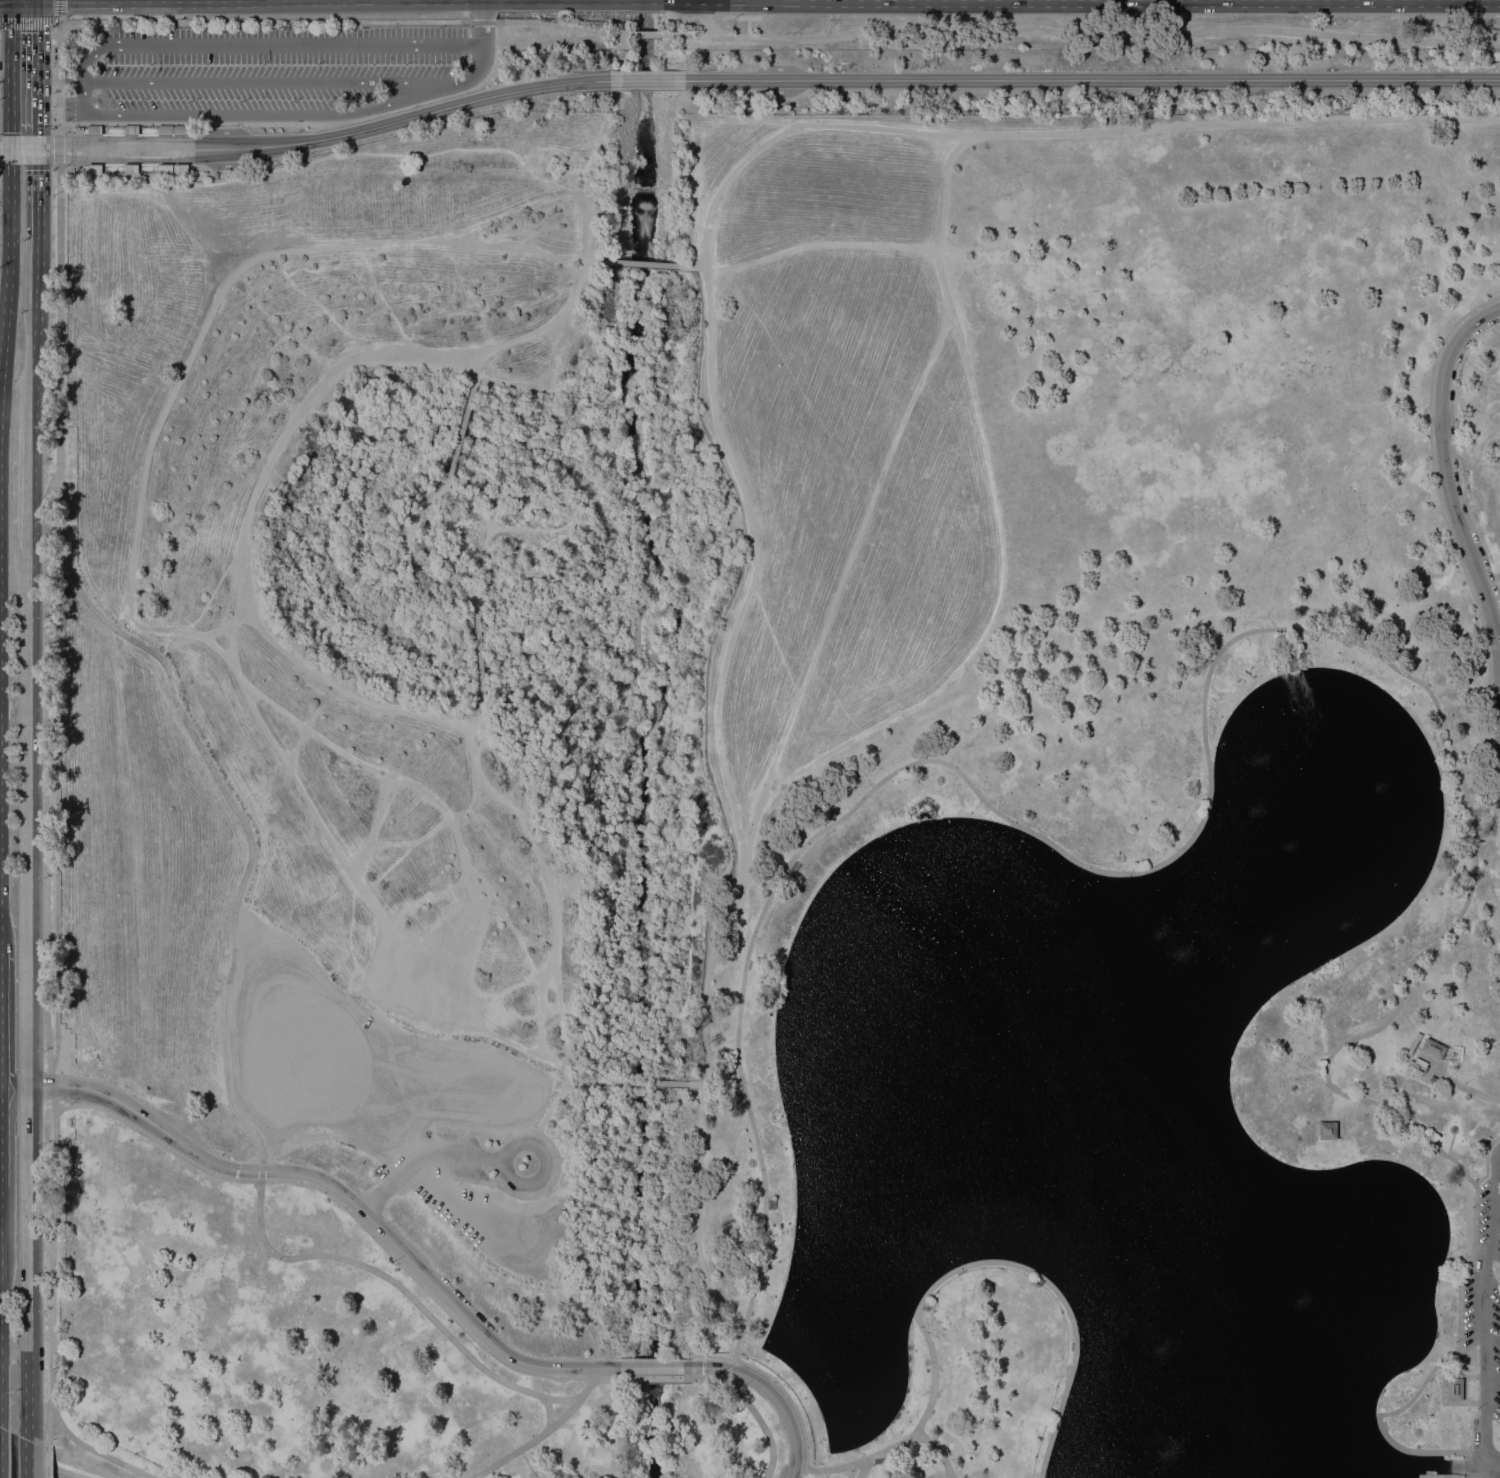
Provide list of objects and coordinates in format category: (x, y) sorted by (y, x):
road: (54, 9)
road: (27, 19)
road: (342, 20)
road: (647, 33)
road: (1081, 36)
road: (36, 40)
road: (268, 44)
road: (10, 57)
road: (479, 60)
parking lot: (261, 66)
road: (55, 76)
road: (256, 81)
road: (58, 82)
road: (243, 114)
road: (36, 115)
road: (5, 117)
road: (303, 122)
building: (94, 129)
building: (130, 129)
building: (164, 129)
building: (180, 129)
road: (124, 131)
road: (10, 132)
road: (1059, 132)
traffic signals: (10, 148)
traffic signals: (36, 148)
road: (58, 148)
road: (9, 165)
road: (125, 165)
building: (129, 168)
building: (94, 169)
building: (164, 169)
building: (180, 169)
road: (4, 182)
road: (935, 223)
road: (37, 226)
road: (804, 246)
road: (595, 260)
road: (640, 263)
road: (8, 271)
road: (58, 318)
road: (534, 329)
road: (34, 353)
road: (16, 402)
road: (460, 429)
road: (31, 475)
road: (1445, 486)
road: (243, 533)
road: (1456, 550)
road: (412, 554)
road: (131, 561)
road: (992, 611)
road: (121, 618)
road: (227, 624)
road: (818, 641)
road: (164, 644)
road: (478, 660)
road: (720, 673)
park: (760, 753)
road: (46, 768)
road: (55, 770)
park: (788, 800)
road: (240, 819)
road: (1006, 819)
road: (581, 910)
road: (28, 991)
road: (1361, 1034)
building: (1433, 1048)
road: (579, 1081)
road: (641, 1082)
road: (696, 1083)
road: (1462, 1086)
parking lot: (378, 1088)
building: (1327, 1130)
road: (507, 1149)
road: (421, 1156)
road: (1485, 1159)
road: (260, 1170)
road: (330, 1186)
road: (343, 1206)
road: (697, 1220)
road: (50, 1254)
road: (1013, 1264)
parking lot: (1485, 1290)
road: (1482, 1299)
road: (419, 1307)
road: (653, 1367)
road: (721, 1368)
road: (1427, 1375)
road: (654, 1378)
building: (1452, 1389)
road: (771, 1393)
road: (751, 1410)
road: (564, 1414)
road: (523, 1446)
road: (937, 1450)
road: (98, 1452)
road: (805, 1452)
road: (26, 1456)
road: (1484, 1457)
road: (47, 1460)
road: (40, 1462)
road: (1460, 1465)
road: (861, 1469)
pier: (1429, 1475)

